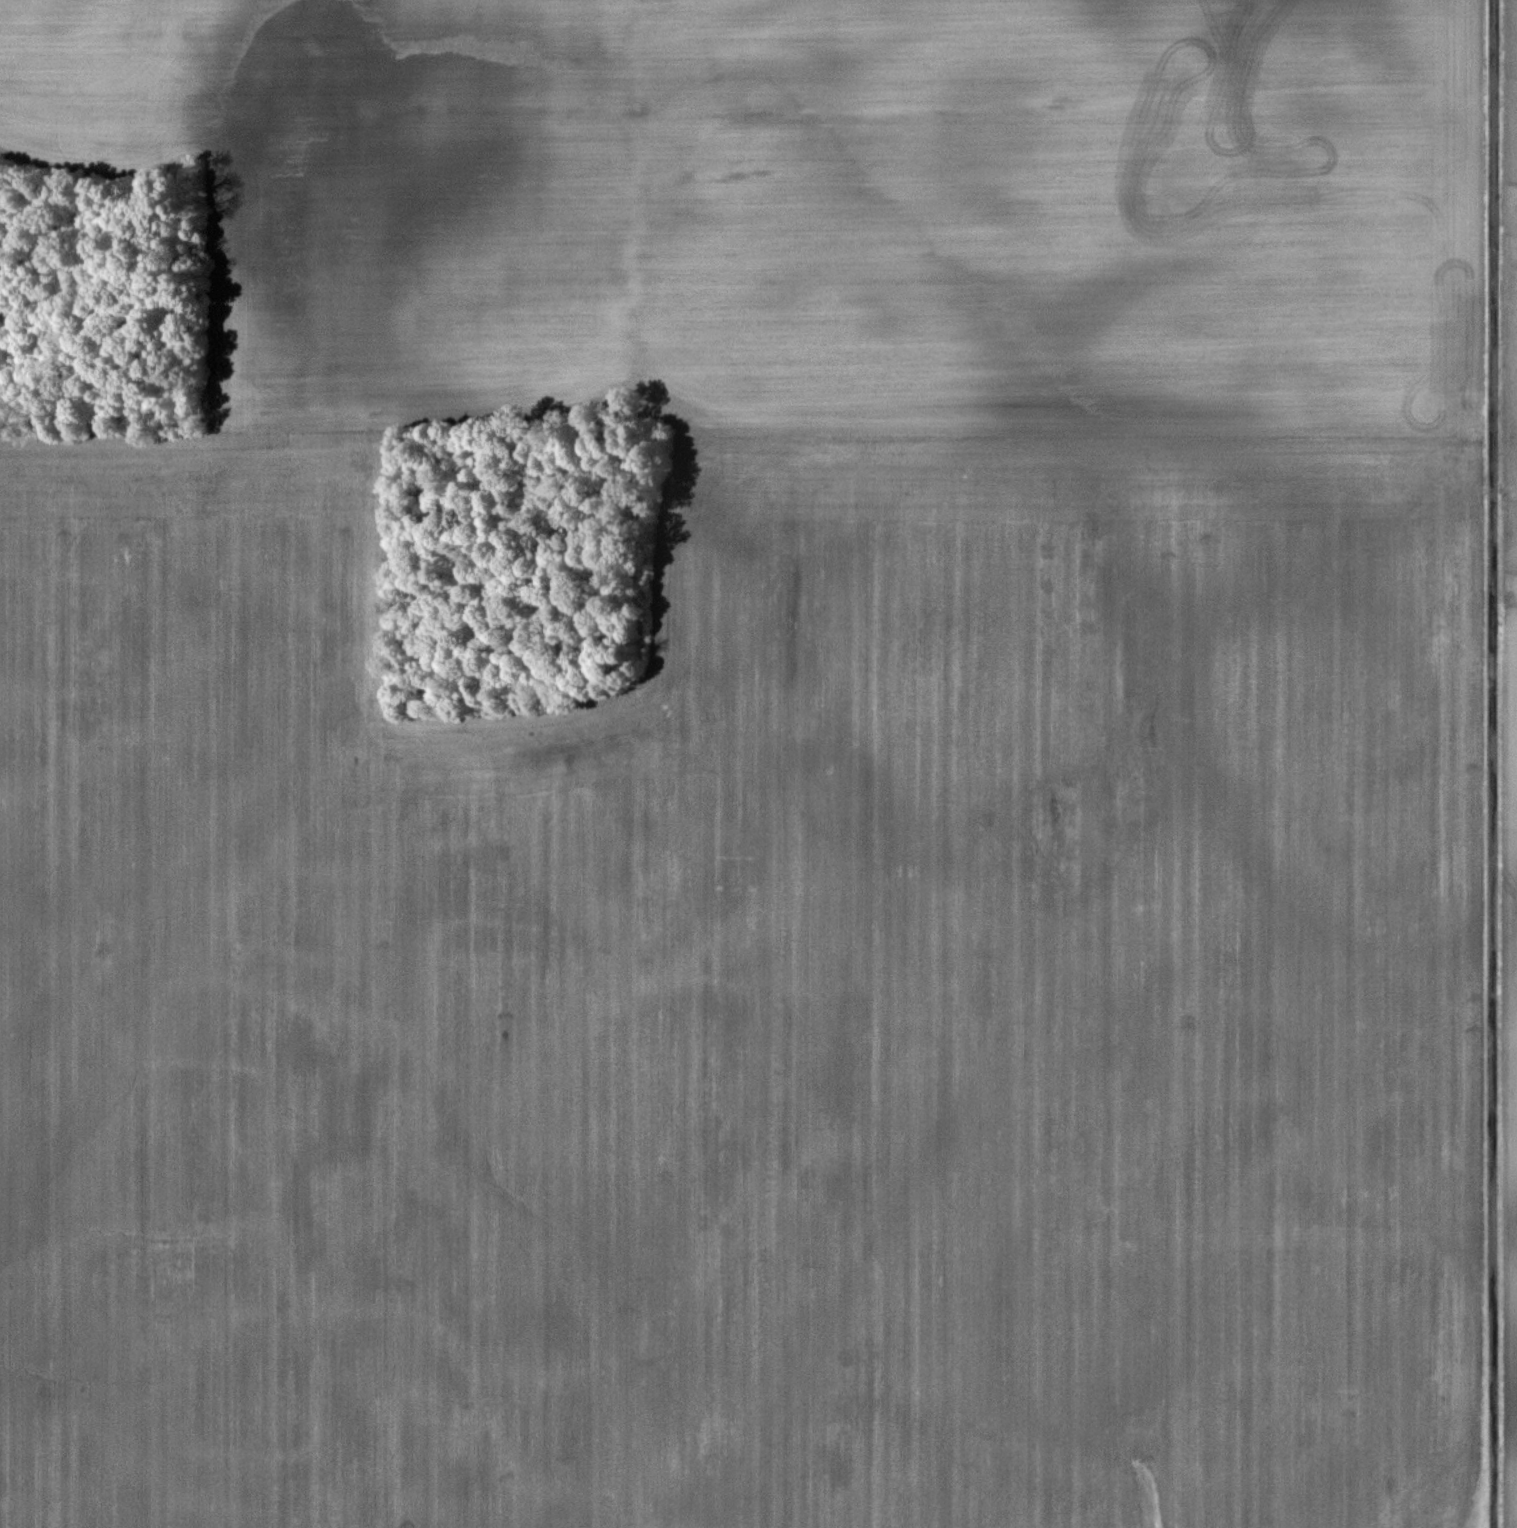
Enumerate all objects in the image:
road: (1487, 764)

